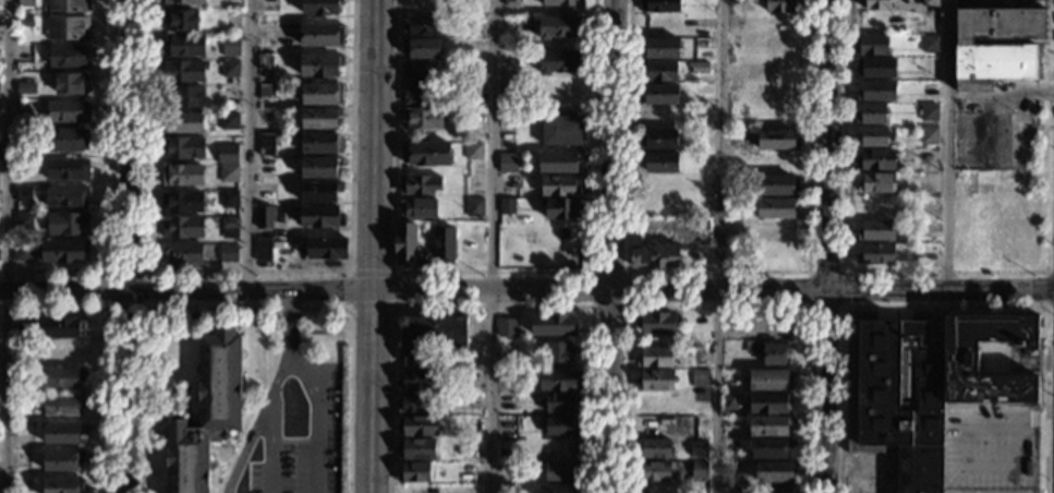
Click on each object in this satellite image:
building: (184, 2)
building: (26, 3)
building: (511, 3)
building: (562, 3)
building: (930, 3)
building: (874, 4)
building: (69, 5)
building: (782, 5)
building: (659, 7)
building: (320, 8)
building: (180, 21)
building: (25, 23)
building: (512, 24)
building: (1000, 24)
building: (422, 26)
building: (558, 26)
building: (69, 28)
building: (322, 35)
building: (930, 44)
building: (184, 45)
building: (231, 46)
building: (872, 46)
building: (662, 48)
building: (422, 49)
building: (24, 50)
building: (68, 57)
building: (264, 61)
building: (558, 61)
building: (319, 65)
building: (993, 65)
building: (699, 68)
building: (876, 68)
building: (230, 69)
building: (421, 71)
building: (658, 71)
building: (183, 72)
building: (72, 84)
building: (876, 91)
building: (266, 92)
building: (322, 95)
building: (420, 95)
building: (661, 95)
building: (183, 97)
building: (68, 112)
building: (929, 112)
building: (871, 113)
building: (472, 117)
building: (320, 118)
building: (422, 119)
building: (265, 120)
building: (229, 121)
building: (182, 123)
building: (561, 131)
building: (25, 134)
building: (929, 135)
building: (872, 136)
building: (659, 139)
building: (68, 140)
building: (734, 140)
building: (776, 140)
road: (246, 144)
building: (266, 144)
building: (322, 144)
road: (947, 144)
building: (182, 147)
building: (474, 152)
building: (425, 154)
building: (229, 156)
building: (876, 160)
building: (508, 161)
building: (560, 163)
building: (662, 163)
building: (25, 164)
building: (320, 167)
building: (66, 169)
building: (228, 172)
building: (181, 175)
building: (876, 183)
building: (420, 184)
building: (559, 185)
building: (777, 185)
road: (109, 188)
building: (322, 192)
building: (24, 194)
building: (65, 196)
building: (229, 200)
building: (182, 202)
building: (474, 207)
building: (506, 207)
building: (419, 208)
building: (561, 208)
building: (777, 208)
building: (264, 217)
building: (320, 217)
building: (23, 220)
building: (230, 223)
building: (65, 224)
building: (182, 228)
building: (876, 230)
building: (404, 242)
building: (444, 244)
road: (371, 245)
road: (719, 245)
road: (7, 246)
road: (130, 246)
road: (493, 246)
road: (613, 246)
road: (827, 246)
building: (326, 249)
building: (263, 250)
building: (22, 251)
building: (63, 251)
building: (182, 253)
building: (228, 253)
building: (876, 254)
building: (654, 255)
road: (109, 269)
road: (246, 270)
road: (369, 270)
road: (489, 272)
road: (626, 272)
road: (717, 272)
road: (841, 272)
road: (946, 274)
road: (390, 288)
road: (348, 289)
road: (526, 290)
road: (1046, 292)
road: (489, 305)
road: (368, 306)
road: (716, 306)
road: (245, 308)
road: (943, 308)
road: (238, 321)
road: (289, 323)
building: (656, 324)
building: (553, 325)
building: (25, 326)
building: (63, 327)
building: (506, 329)
building: (432, 330)
road: (109, 346)
building: (508, 349)
building: (62, 351)
building: (558, 352)
building: (775, 353)
building: (415, 358)
building: (654, 358)
building: (62, 378)
building: (700, 378)
building: (770, 380)
building: (416, 381)
building: (559, 381)
building: (655, 381)
building: (923, 385)
building: (729, 401)
building: (413, 402)
building: (768, 402)
road: (256, 404)
building: (560, 404)
building: (62, 406)
building: (206, 412)
road: (1038, 416)
road: (316, 420)
road: (269, 422)
building: (417, 425)
building: (560, 426)
building: (767, 426)
building: (62, 433)
road: (245, 446)
building: (698, 448)
building: (770, 448)
building: (417, 449)
building: (654, 449)
road: (968, 459)
building: (62, 460)
building: (699, 470)
building: (559, 471)
building: (653, 471)
building: (414, 472)
building: (775, 472)
building: (21, 485)
building: (63, 485)
building: (557, 489)
building: (777, 489)

